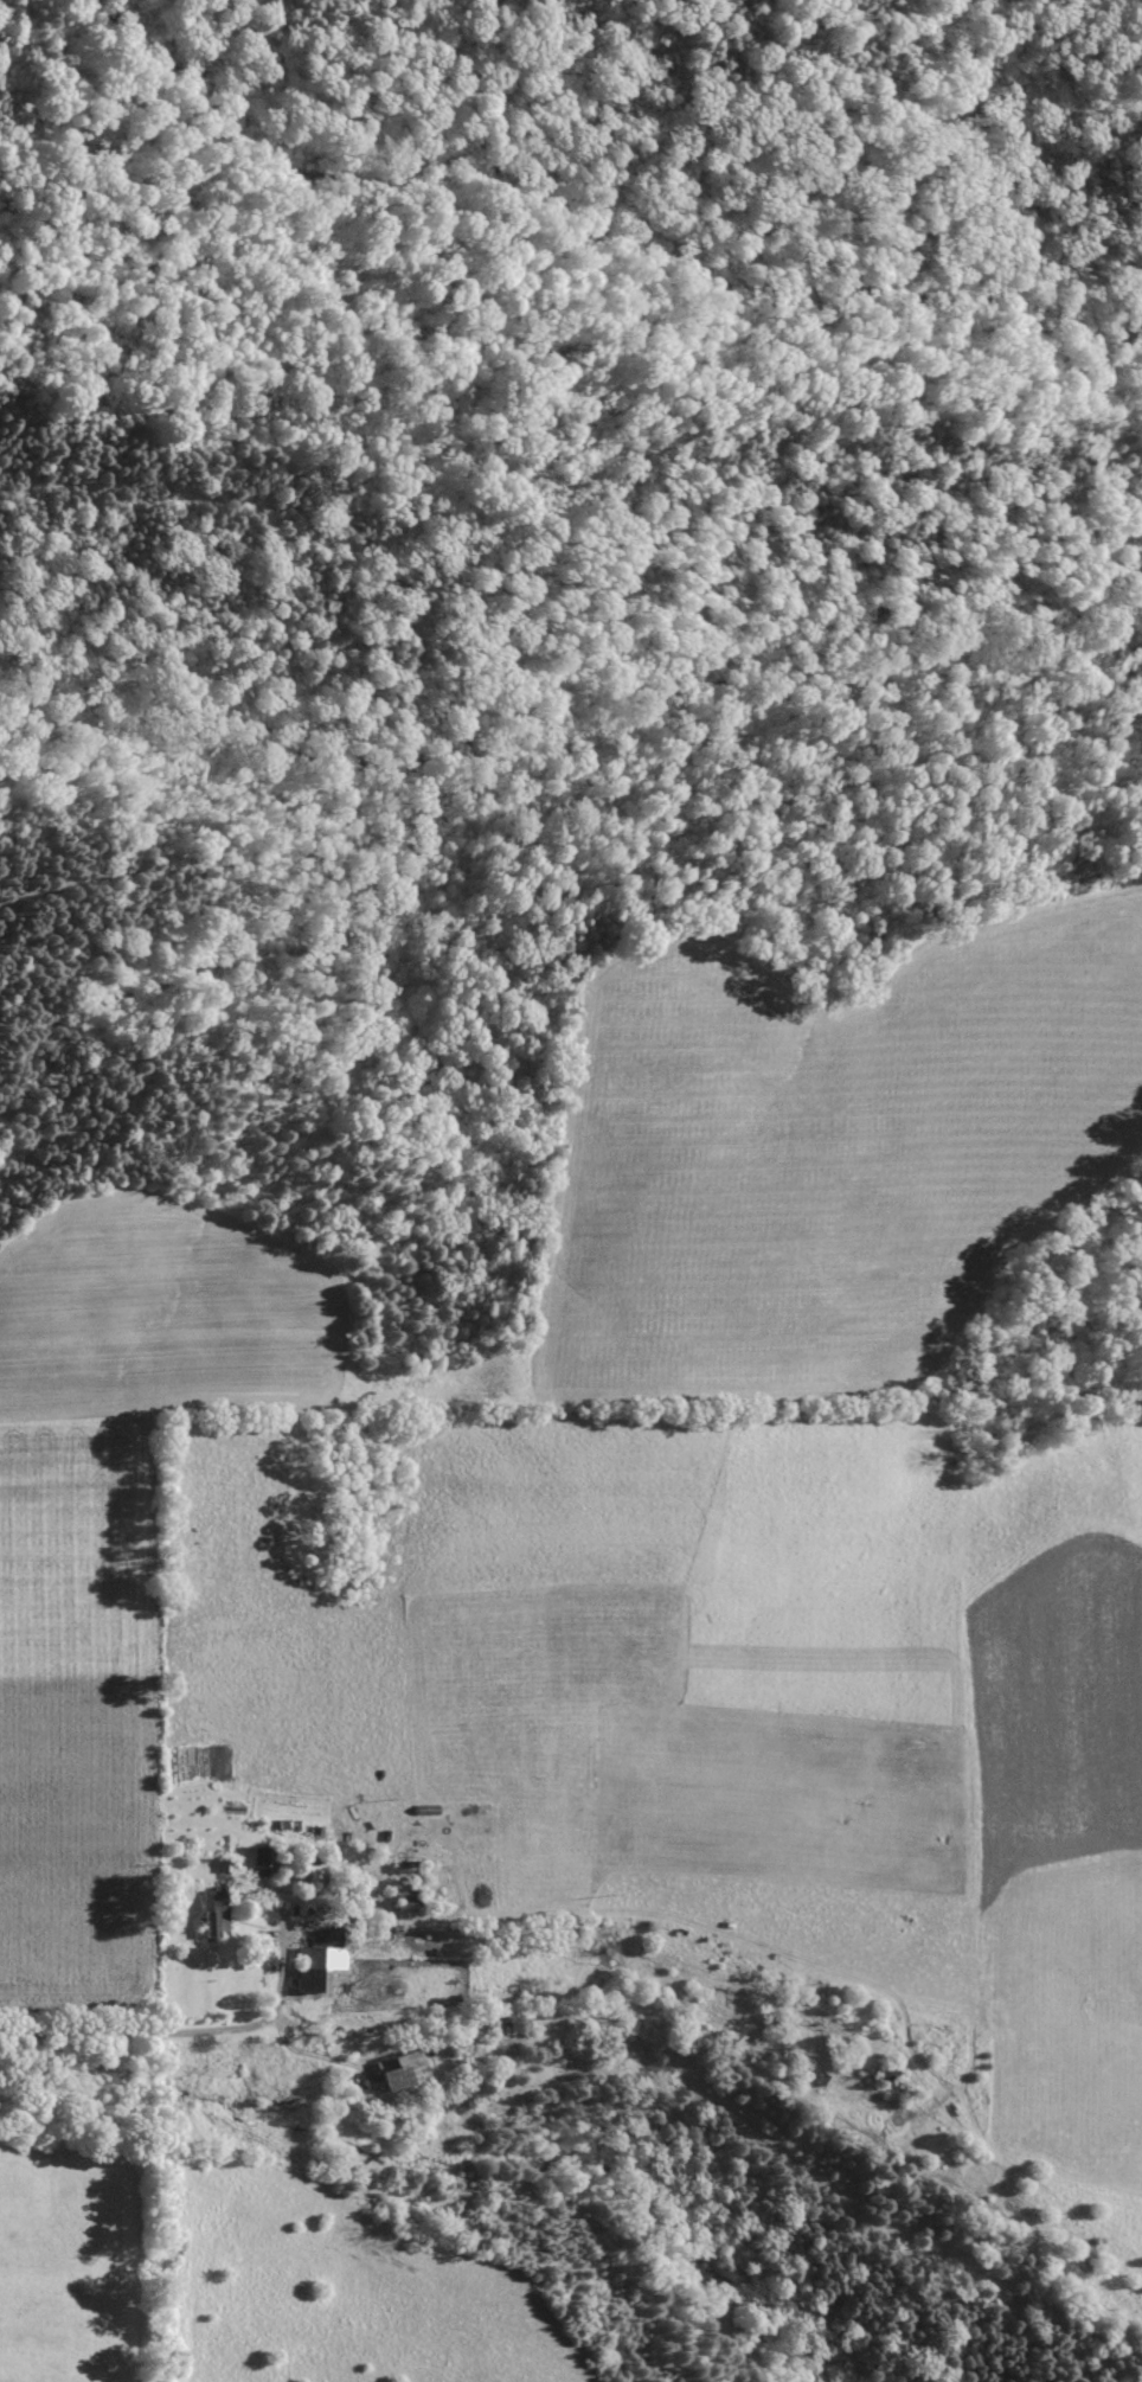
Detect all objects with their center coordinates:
building: (261, 1862)
building: (406, 1898)
building: (216, 1913)
building: (320, 1968)
road: (136, 2038)
building: (402, 2070)

